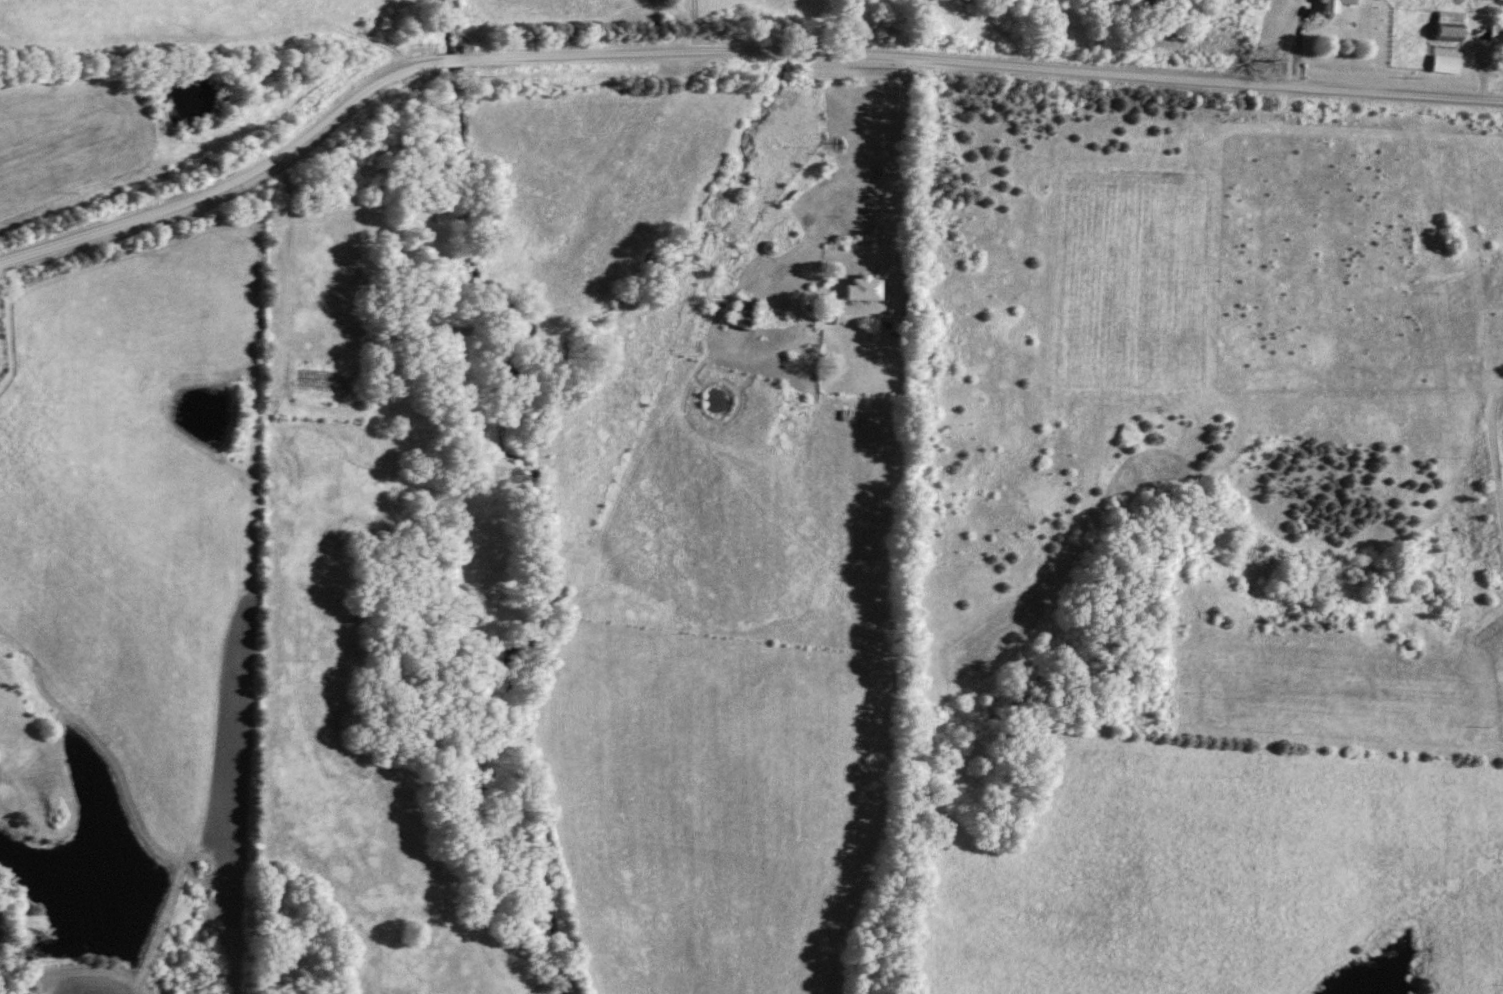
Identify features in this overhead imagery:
building: (1334, 4)
building: (1449, 26)
building: (1491, 34)
road: (727, 53)
road: (1478, 63)
building: (1444, 64)
road: (897, 215)
building: (863, 289)
building: (742, 314)

